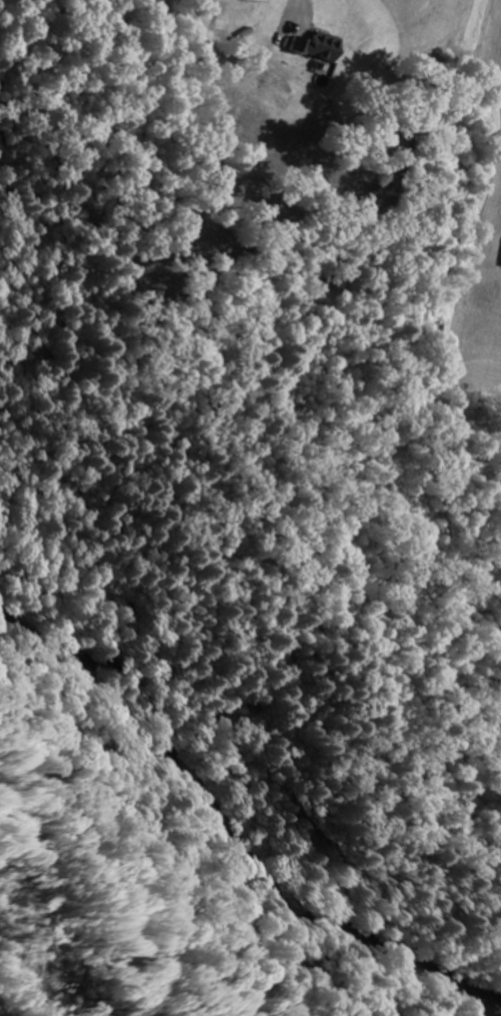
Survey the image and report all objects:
building: (321, 47)

